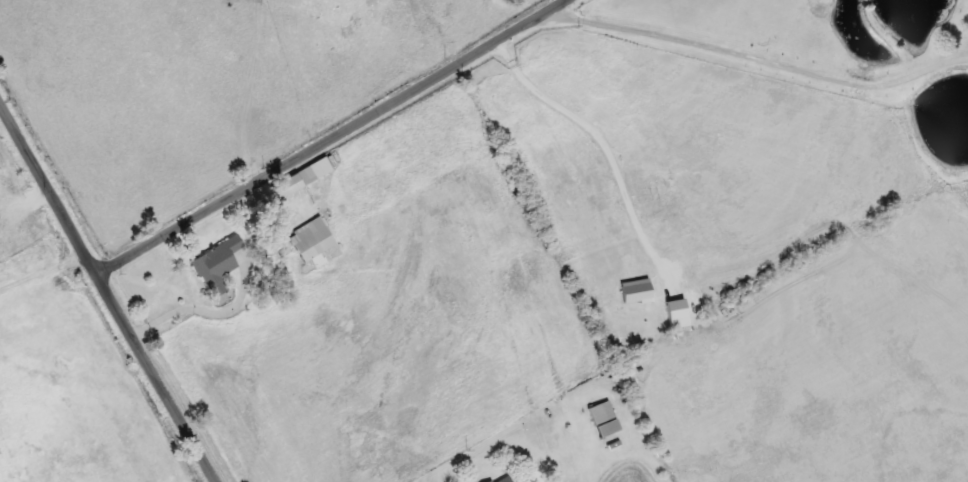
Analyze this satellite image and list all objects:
road: (753, 56)
road: (334, 138)
building: (293, 181)
building: (311, 238)
building: (218, 267)
road: (107, 294)
building: (601, 411)
building: (502, 479)

